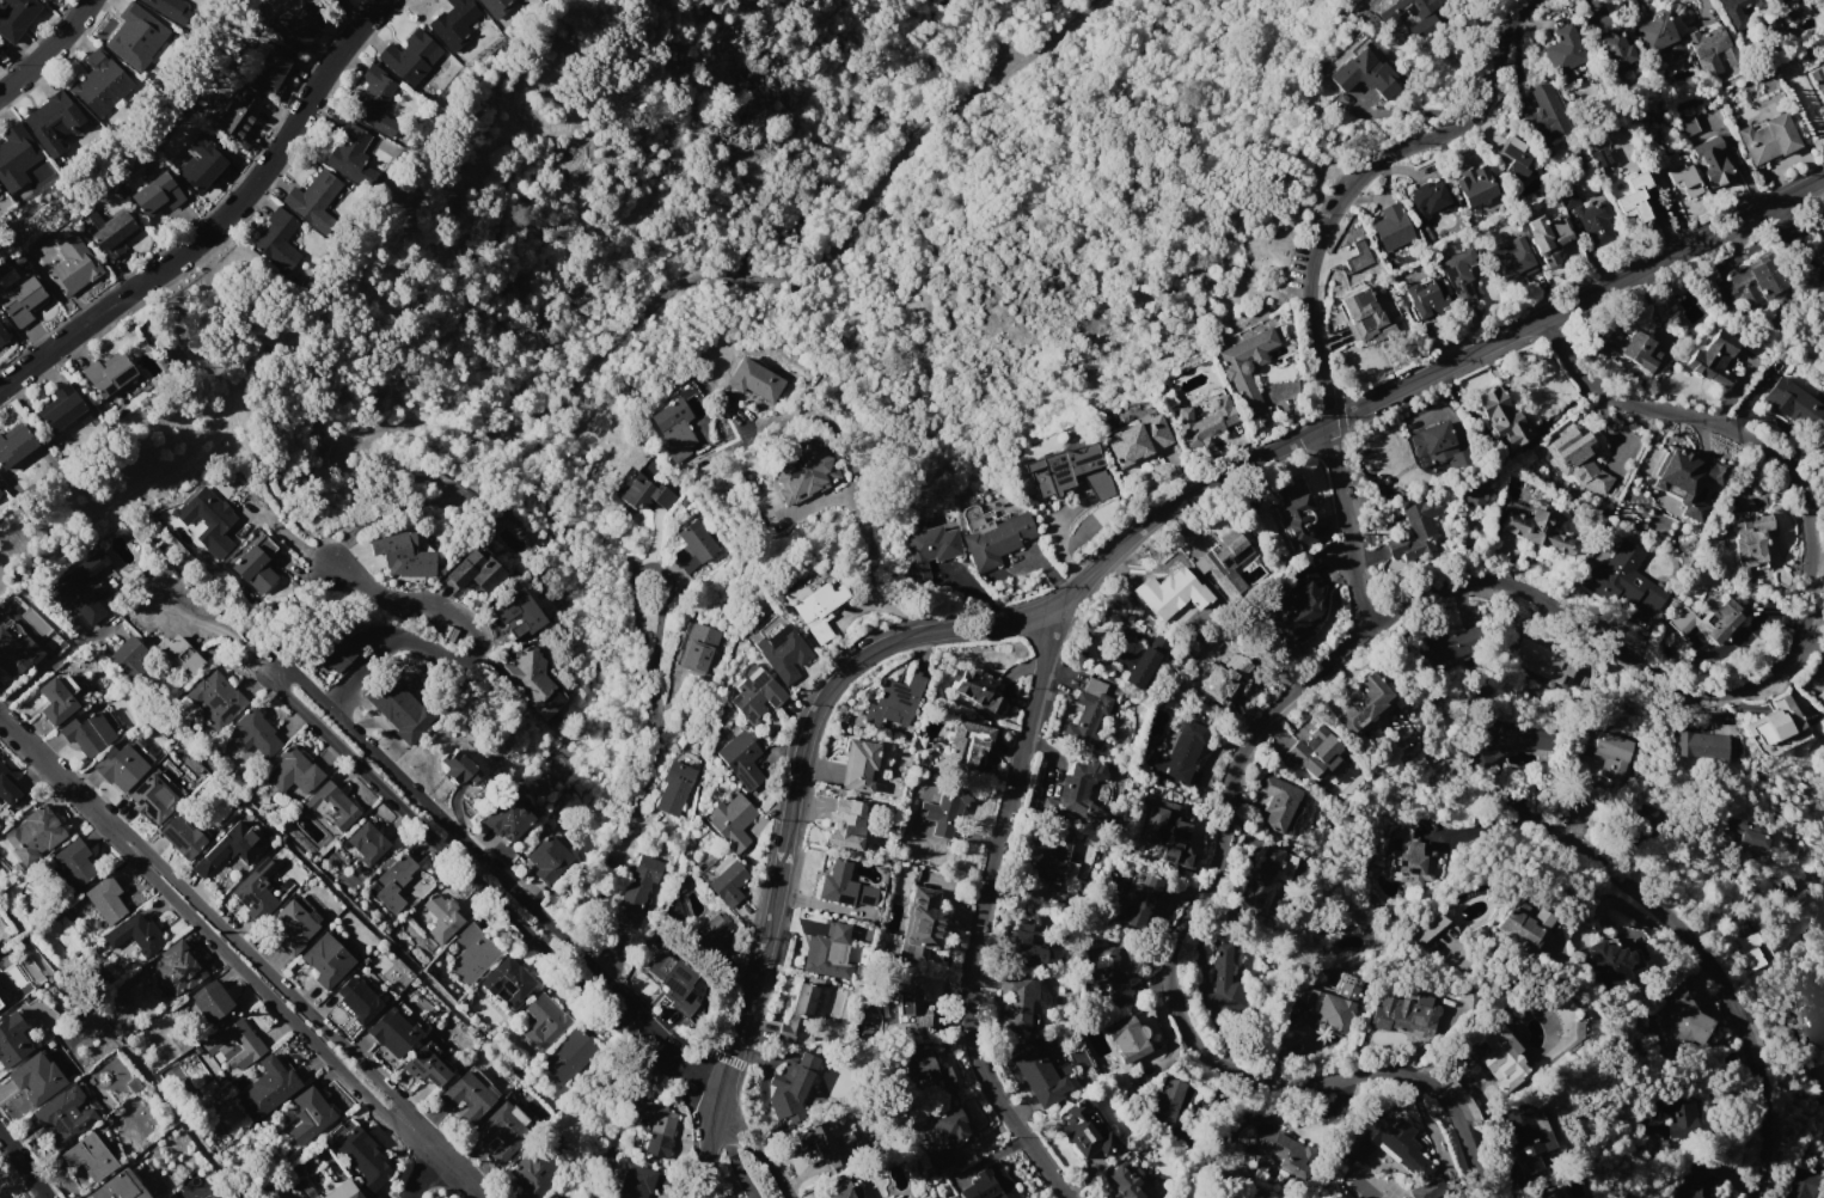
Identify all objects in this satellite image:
building: (153, 4)
building: (494, 6)
building: (1739, 11)
building: (16, 17)
building: (453, 23)
building: (296, 25)
building: (135, 37)
building: (1657, 39)
road: (47, 47)
building: (1614, 48)
building: (1714, 50)
building: (1562, 54)
building: (410, 57)
building: (1360, 67)
building: (273, 72)
building: (100, 82)
building: (1818, 82)
building: (374, 100)
road: (1059, 100)
building: (1547, 109)
building: (237, 120)
building: (51, 122)
building: (1687, 127)
building: (1767, 137)
building: (16, 151)
building: (350, 153)
building: (1511, 157)
building: (1597, 158)
building: (201, 163)
building: (1712, 163)
building: (1679, 173)
road: (1131, 177)
building: (1471, 185)
road: (1305, 195)
building: (155, 196)
building: (1565, 196)
building: (1633, 197)
building: (323, 201)
building: (1428, 201)
road: (218, 220)
building: (1593, 222)
building: (1390, 227)
road: (849, 231)
building: (109, 232)
park: (753, 236)
building: (1545, 238)
building: (276, 239)
road: (1798, 240)
road: (471, 243)
building: (1511, 259)
building: (73, 264)
road: (1311, 268)
building: (1458, 274)
building: (1752, 283)
building: (1426, 299)
building: (23, 301)
building: (1364, 317)
building: (1679, 325)
building: (2, 334)
building: (1634, 349)
building: (1714, 359)
building: (1247, 367)
building: (108, 373)
building: (753, 379)
building: (1786, 401)
building: (63, 414)
building: (1500, 417)
building: (1204, 423)
building: (673, 426)
road: (741, 427)
building: (1137, 440)
building: (1439, 445)
building: (14, 447)
road: (251, 450)
building: (1578, 459)
road: (343, 462)
building: (1060, 470)
building: (802, 473)
building: (1688, 483)
building: (0, 490)
building: (642, 490)
building: (1474, 495)
road: (852, 497)
building: (437, 499)
building: (1292, 518)
building: (208, 521)
building: (1416, 530)
building: (1528, 532)
road: (284, 533)
building: (1751, 538)
building: (996, 539)
building: (692, 546)
building: (929, 552)
building: (404, 555)
building: (1225, 562)
building: (255, 567)
road: (1092, 568)
building: (476, 570)
building: (1627, 575)
building: (67, 588)
building: (1168, 588)
road: (1413, 600)
building: (1304, 603)
building: (819, 610)
building: (518, 613)
building: (1714, 622)
building: (49, 643)
building: (1452, 646)
building: (326, 648)
building: (697, 648)
building: (16, 649)
building: (783, 652)
building: (179, 655)
road: (471, 655)
building: (129, 658)
road: (50, 661)
building: (1138, 661)
building: (1542, 662)
road: (271, 668)
building: (1220, 677)
building: (532, 681)
building: (977, 692)
building: (754, 696)
building: (1819, 696)
building: (215, 697)
building: (55, 701)
building: (895, 701)
building: (1361, 703)
building: (398, 711)
building: (1088, 715)
building: (1775, 719)
building: (88, 732)
building: (255, 733)
building: (1511, 739)
building: (1310, 745)
building: (1700, 745)
building: (968, 747)
building: (1609, 753)
building: (1180, 754)
road: (656, 756)
building: (740, 758)
road: (45, 763)
building: (123, 764)
building: (858, 765)
building: (458, 769)
building: (294, 772)
building: (8, 787)
building: (674, 787)
building: (1083, 788)
building: (157, 795)
building: (1278, 802)
building: (331, 806)
building: (944, 809)
building: (1648, 813)
building: (507, 818)
building: (730, 820)
building: (845, 825)
building: (1746, 827)
building: (1164, 832)
building: (33, 835)
building: (180, 837)
building: (367, 843)
building: (231, 848)
building: (1051, 852)
building: (547, 858)
building: (74, 862)
building: (1418, 862)
building: (1260, 879)
building: (726, 880)
building: (394, 882)
building: (838, 884)
building: (256, 888)
building: (637, 891)
building: (864, 894)
road: (1791, 897)
building: (105, 900)
building: (1146, 904)
road: (983, 915)
building: (441, 916)
building: (715, 925)
building: (292, 927)
building: (922, 927)
building: (1523, 927)
building: (1425, 930)
building: (135, 934)
building: (1023, 945)
building: (827, 952)
building: (1751, 952)
building: (472, 954)
building: (326, 959)
building: (1608, 962)
road: (1710, 966)
building: (178, 967)
road: (269, 972)
building: (671, 973)
building: (1110, 974)
building: (1223, 980)
building: (509, 984)
road: (257, 985)
building: (2, 995)
building: (357, 998)
building: (118, 1000)
building: (907, 1001)
building: (1018, 1001)
building: (212, 1002)
building: (1326, 1008)
building: (798, 1009)
building: (1404, 1015)
building: (1685, 1019)
building: (544, 1022)
building: (393, 1032)
building: (1127, 1038)
building: (13, 1039)
building: (235, 1044)
building: (570, 1056)
building: (1500, 1057)
building: (424, 1066)
building: (923, 1071)
building: (798, 1076)
building: (1039, 1076)
building: (36, 1077)
building: (1819, 1082)
building: (269, 1087)
building: (467, 1094)
building: (1169, 1101)
building: (310, 1116)
building: (62, 1117)
building: (656, 1117)
building: (1651, 1117)
building: (1683, 1118)
road: (728, 1120)
building: (502, 1131)
building: (1084, 1131)
building: (1526, 1137)
building: (826, 1139)
building: (948, 1139)
building: (1390, 1143)
building: (1285, 1150)
building: (90, 1156)
building: (363, 1159)
road: (23, 1163)
building: (532, 1173)
road: (422, 1174)
road: (454, 1174)
building: (1687, 1180)
building: (635, 1181)
building: (987, 1184)
building: (1122, 1184)
building: (1799, 1184)
building: (120, 1186)
building: (840, 1187)
building: (1426, 1188)
building: (343, 1191)
building: (1547, 1193)
building: (317, 1197)
building: (557, 1197)
building: (724, 1197)
building: (1562, 1197)

